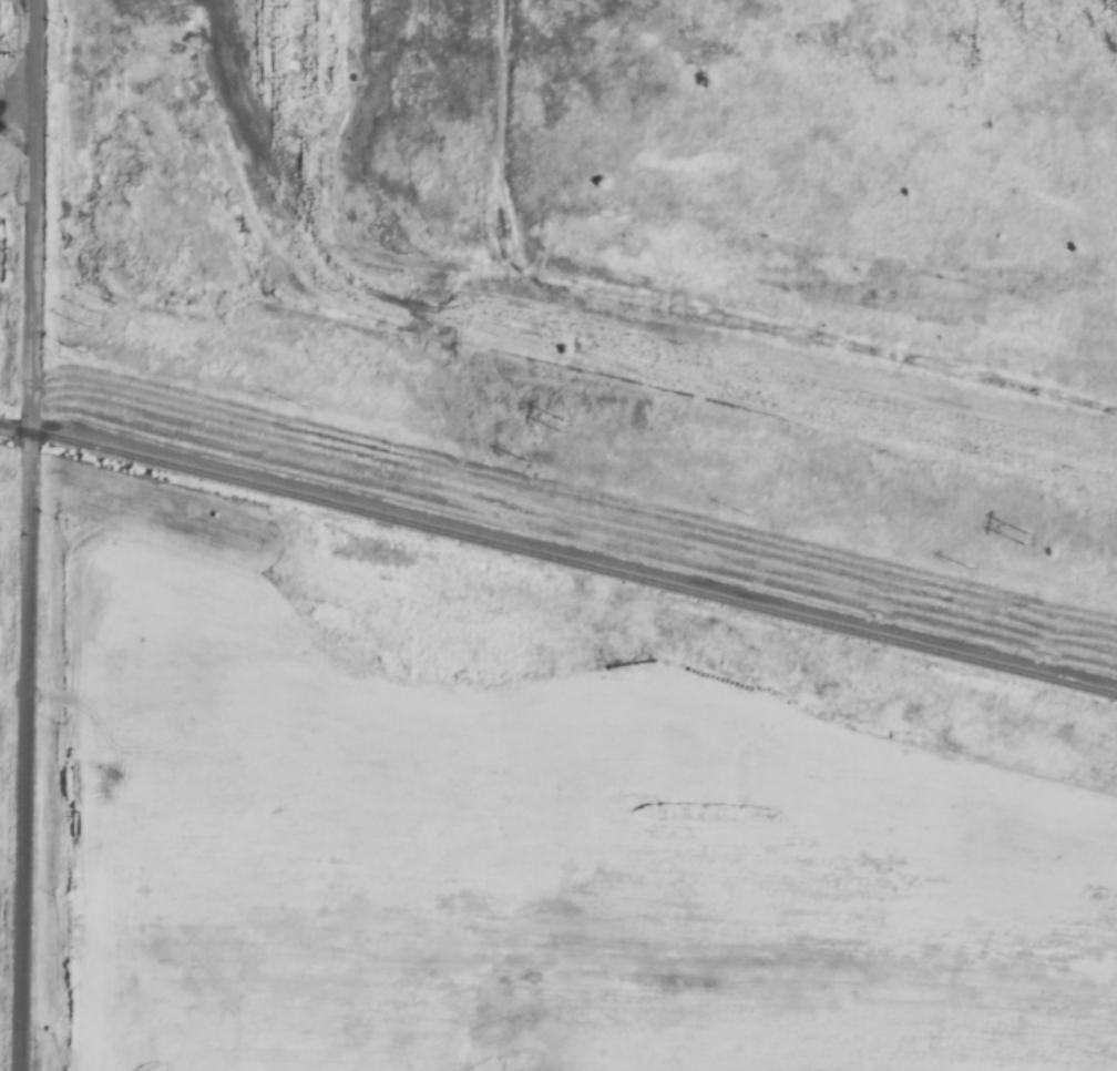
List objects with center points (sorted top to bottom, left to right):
building: (301, 12)
road: (371, 74)
building: (301, 76)
power tower: (96, 312)
power tower: (558, 426)
road: (25, 535)
power tower: (1023, 539)
railway: (557, 560)

